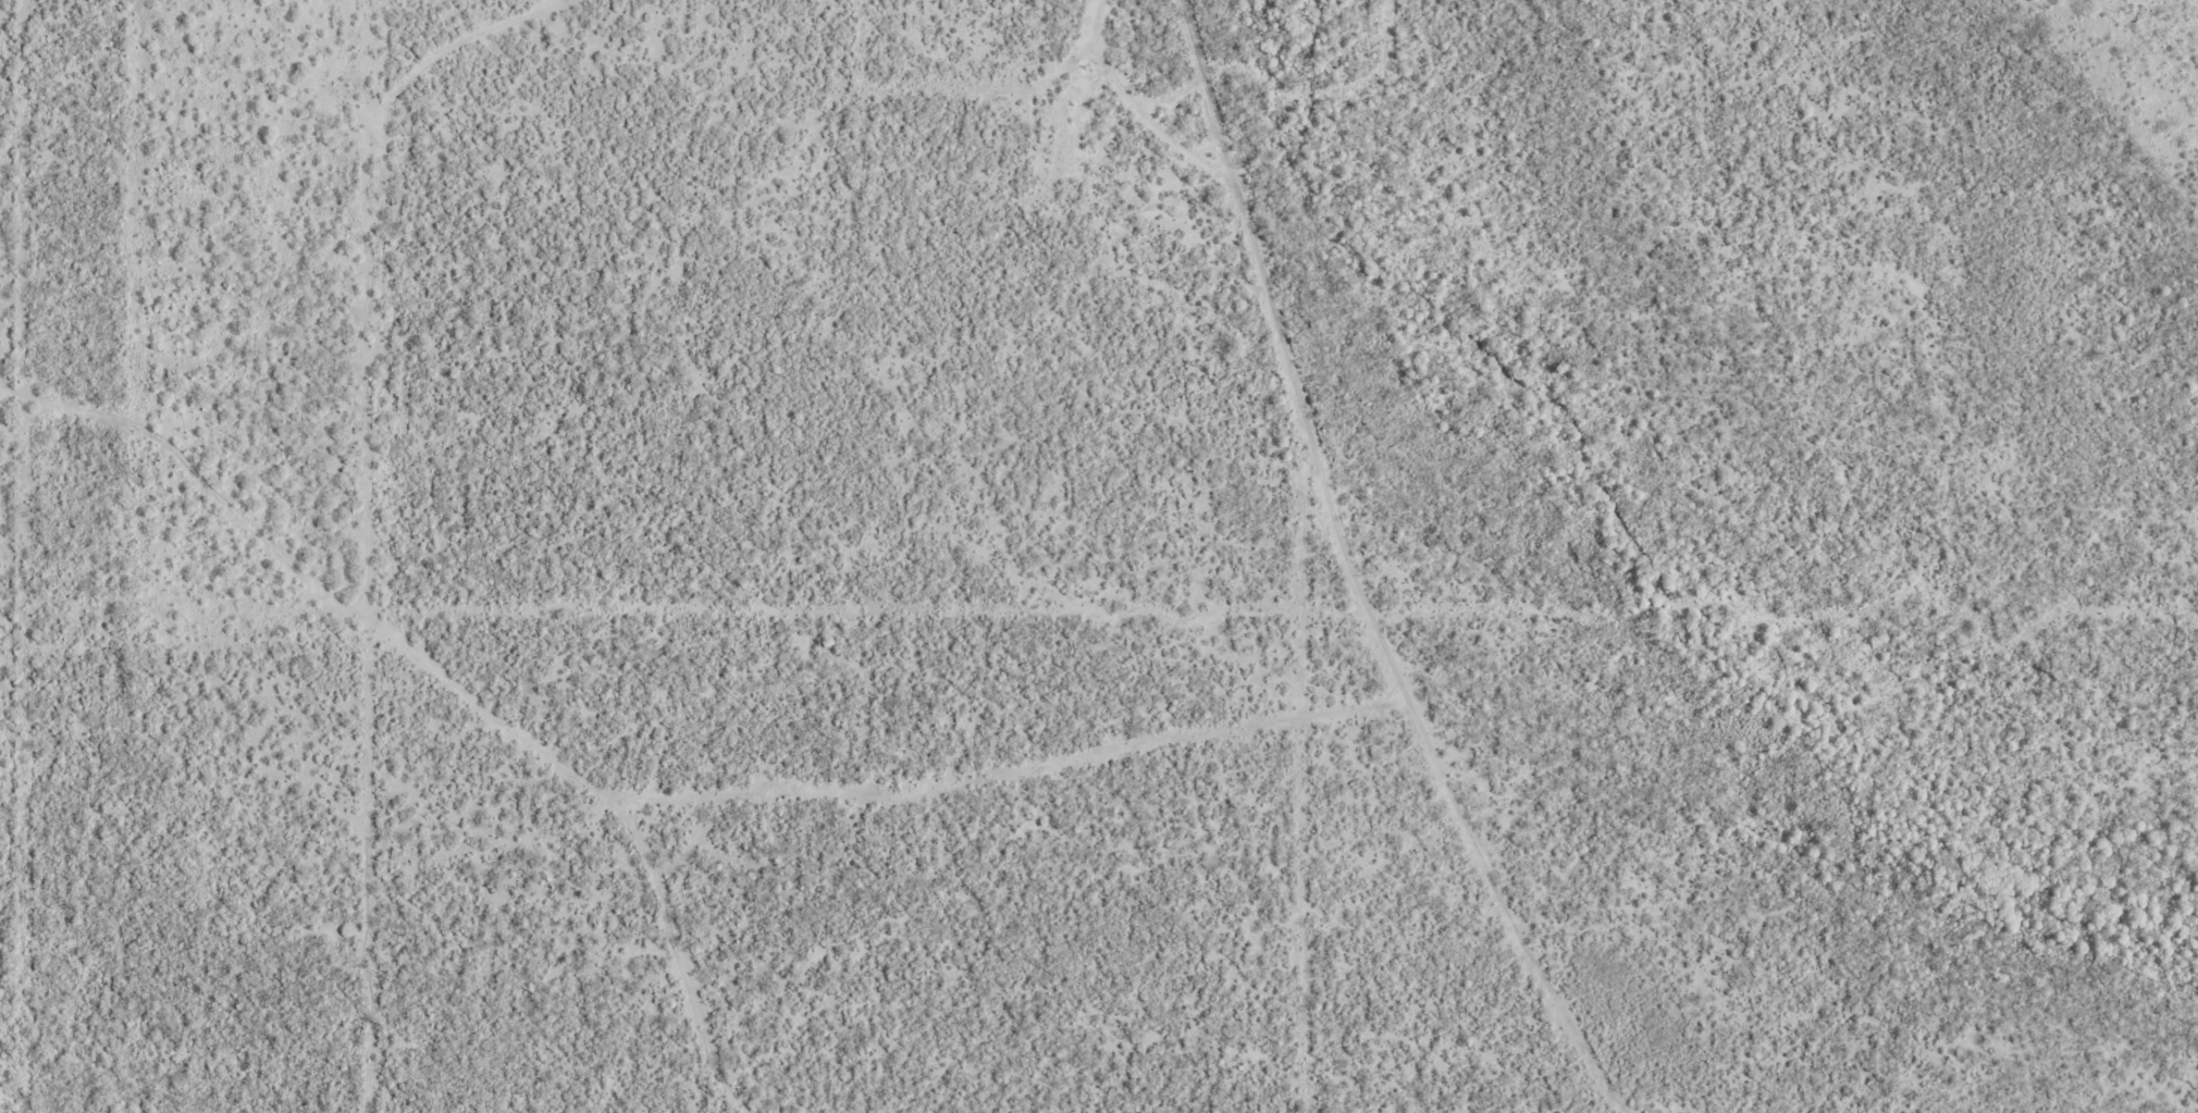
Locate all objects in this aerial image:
road: (2, 944)

